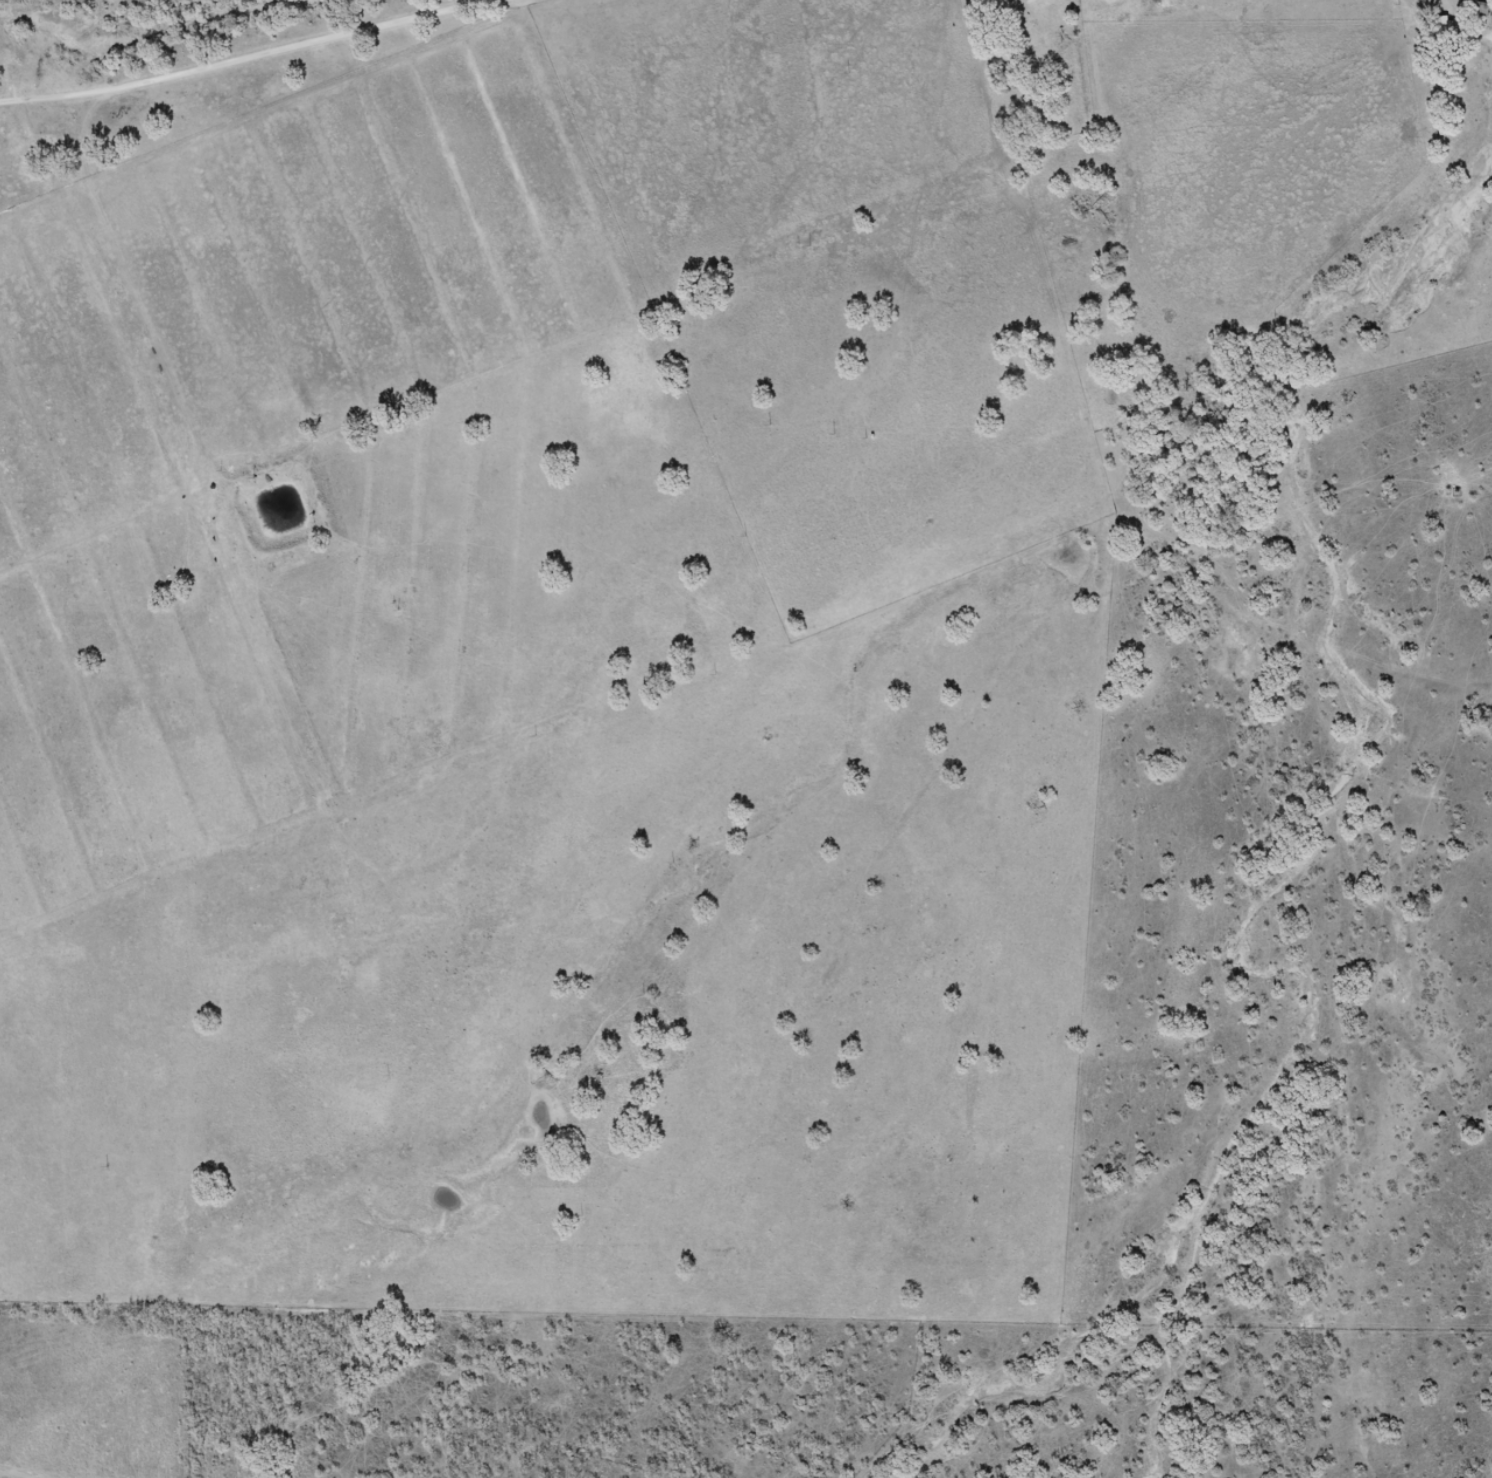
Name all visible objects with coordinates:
road: (1444, 19)
road: (315, 95)

